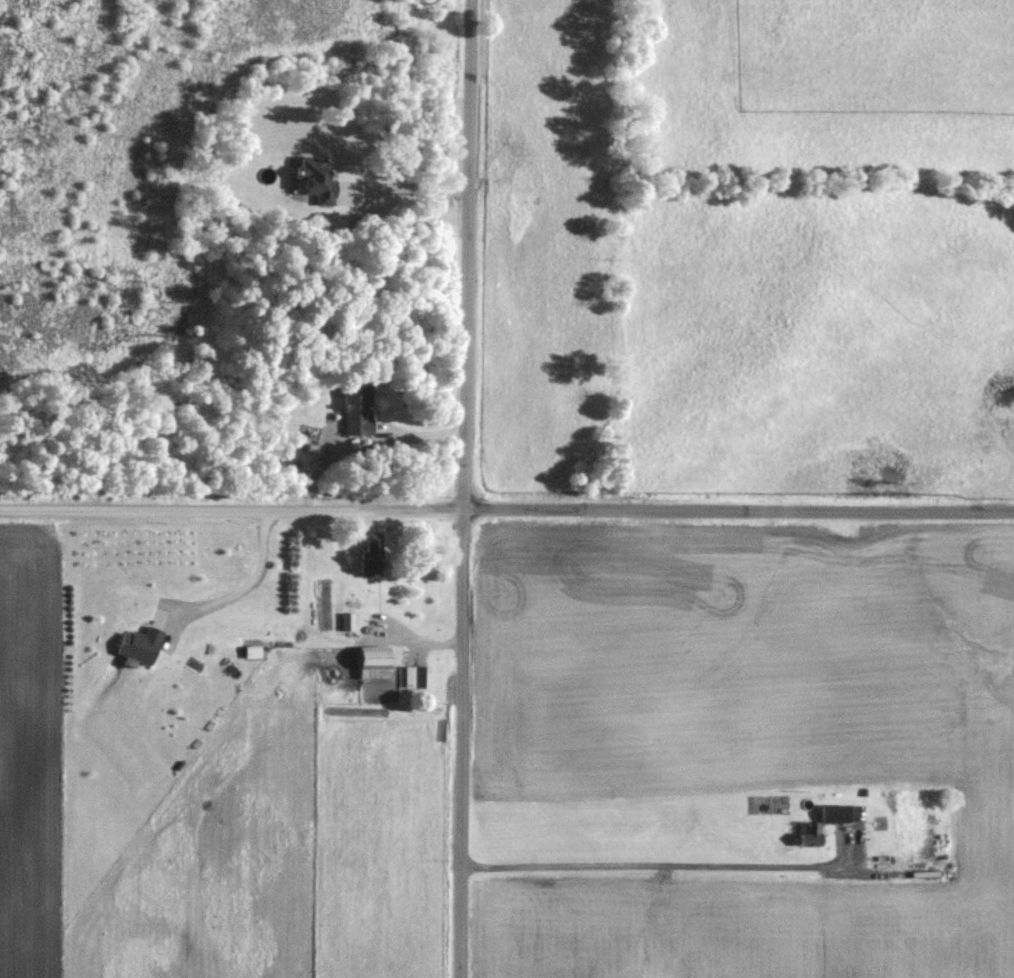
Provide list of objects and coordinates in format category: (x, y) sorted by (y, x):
building: (314, 180)
road: (407, 189)
road: (469, 253)
building: (354, 412)
road: (366, 442)
road: (506, 506)
building: (369, 563)
road: (239, 587)
building: (371, 664)
building: (416, 678)
road: (463, 742)
building: (807, 836)
road: (659, 862)

